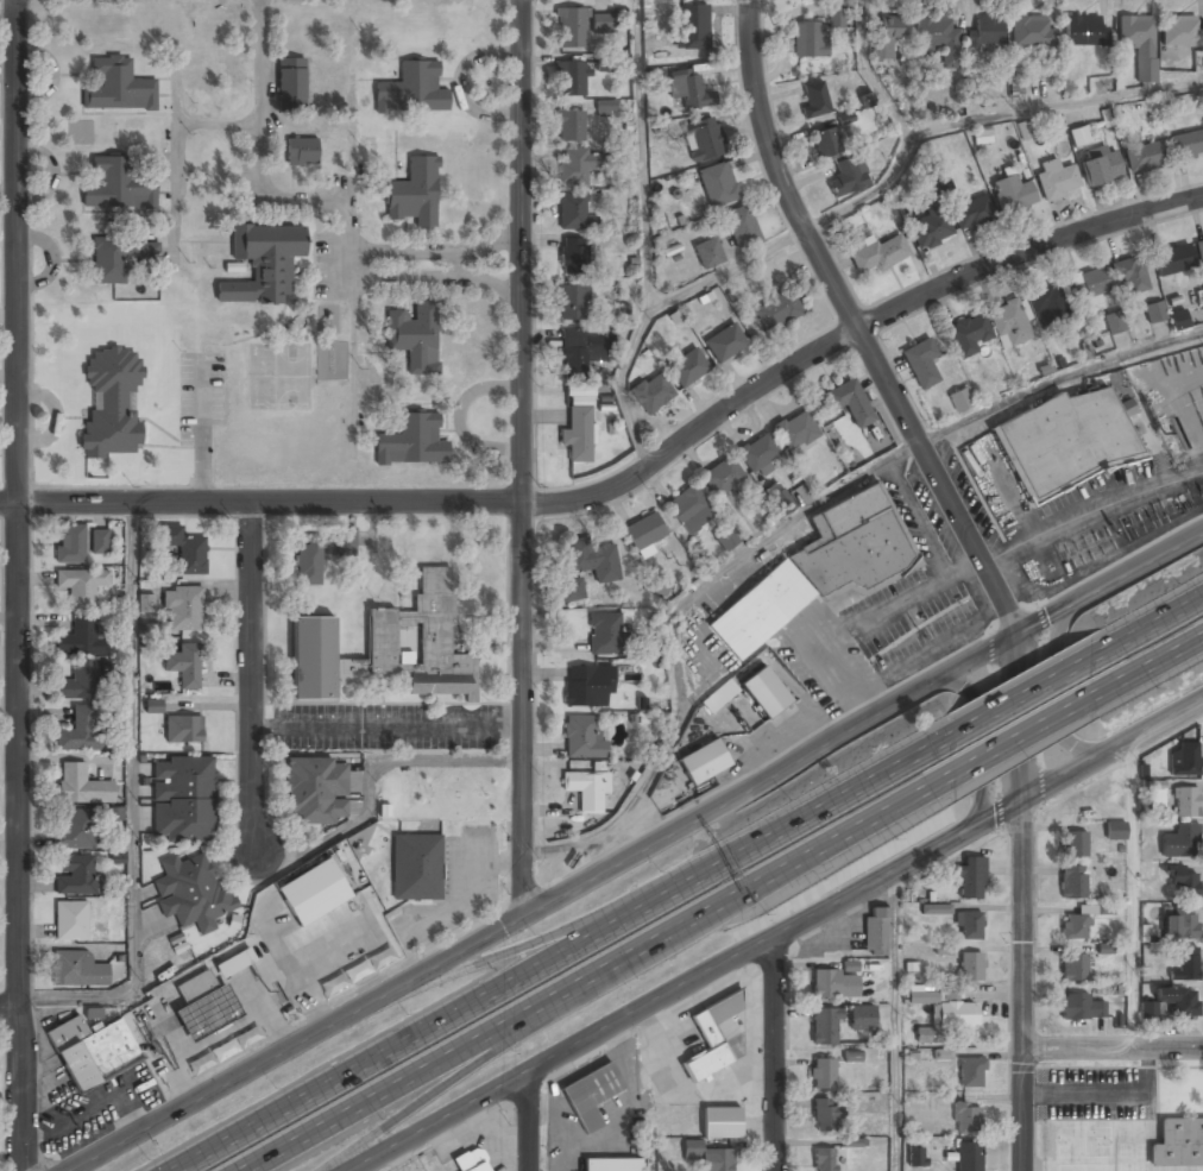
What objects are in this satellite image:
building: (834, 19)
building: (603, 23)
building: (694, 27)
building: (571, 29)
building: (1084, 31)
building: (1180, 31)
building: (988, 32)
building: (1032, 33)
building: (886, 37)
building: (808, 40)
building: (939, 40)
building: (1139, 44)
building: (571, 80)
building: (290, 84)
building: (116, 87)
building: (412, 89)
building: (689, 92)
building: (814, 100)
building: (605, 106)
road: (1054, 107)
building: (569, 128)
road: (906, 136)
building: (1079, 136)
building: (703, 140)
building: (826, 144)
building: (1186, 145)
building: (302, 153)
road: (642, 153)
building: (1145, 158)
building: (574, 166)
building: (1101, 169)
building: (848, 177)
building: (1057, 180)
building: (718, 184)
building: (116, 187)
building: (414, 194)
building: (1012, 195)
building: (972, 213)
building: (574, 214)
building: (741, 227)
building: (932, 229)
building: (1199, 252)
building: (708, 253)
building: (878, 254)
building: (573, 256)
building: (118, 259)
building: (1173, 262)
building: (262, 265)
building: (1129, 277)
building: (1091, 288)
building: (572, 303)
building: (1047, 306)
building: (777, 310)
building: (1154, 311)
road: (647, 313)
building: (1178, 319)
building: (1114, 321)
building: (1009, 325)
road: (843, 330)
building: (969, 335)
building: (415, 338)
building: (725, 344)
building: (574, 353)
building: (921, 364)
building: (687, 369)
building: (651, 394)
building: (959, 398)
building: (111, 399)
building: (850, 403)
building: (578, 428)
building: (796, 433)
building: (412, 442)
building: (1065, 443)
road: (533, 453)
building: (758, 454)
building: (723, 478)
road: (637, 485)
building: (780, 500)
building: (689, 511)
road: (791, 517)
building: (644, 533)
building: (725, 540)
building: (100, 541)
building: (346, 543)
building: (71, 544)
building: (185, 550)
building: (592, 561)
building: (308, 565)
building: (818, 569)
road: (18, 585)
building: (81, 587)
building: (572, 591)
building: (146, 603)
building: (183, 610)
road: (1151, 622)
building: (156, 629)
building: (604, 635)
building: (80, 640)
building: (388, 649)
road: (1150, 662)
building: (184, 667)
road: (251, 672)
road: (1063, 679)
building: (78, 682)
building: (587, 686)
road: (1027, 690)
building: (766, 694)
building: (719, 695)
building: (153, 705)
road: (1015, 718)
building: (183, 731)
building: (78, 732)
road: (1024, 736)
building: (582, 737)
road: (990, 737)
building: (704, 761)
building: (1185, 761)
building: (81, 787)
building: (586, 789)
building: (315, 792)
building: (1157, 798)
road: (131, 801)
building: (182, 801)
building: (1185, 802)
building: (114, 813)
building: (74, 831)
building: (1115, 831)
building: (1180, 842)
building: (1075, 846)
road: (634, 851)
building: (416, 868)
building: (75, 877)
building: (970, 879)
building: (1072, 883)
building: (1183, 883)
building: (190, 893)
building: (313, 893)
road: (1130, 893)
building: (936, 908)
building: (70, 923)
building: (1081, 923)
building: (969, 926)
building: (1179, 926)
building: (875, 932)
road: (776, 933)
road: (531, 944)
road: (569, 951)
building: (1186, 965)
building: (970, 967)
building: (1073, 969)
building: (76, 970)
road: (606, 976)
building: (830, 984)
road: (1019, 986)
building: (1179, 1002)
road: (10, 1007)
building: (203, 1007)
building: (1081, 1008)
building: (1148, 1009)
building: (943, 1014)
building: (862, 1018)
road: (895, 1020)
building: (824, 1027)
building: (714, 1037)
road: (1110, 1049)
building: (225, 1051)
building: (92, 1052)
road: (497, 1052)
road: (774, 1053)
building: (971, 1072)
building: (823, 1076)
building: (591, 1097)
building: (825, 1116)
building: (966, 1116)
road: (528, 1121)
building: (720, 1123)
building: (1177, 1141)
building: (915, 1156)
building: (707, 1157)
building: (969, 1157)
road: (92, 1159)
building: (824, 1160)
building: (470, 1161)
building: (611, 1165)
road: (651, 1165)

